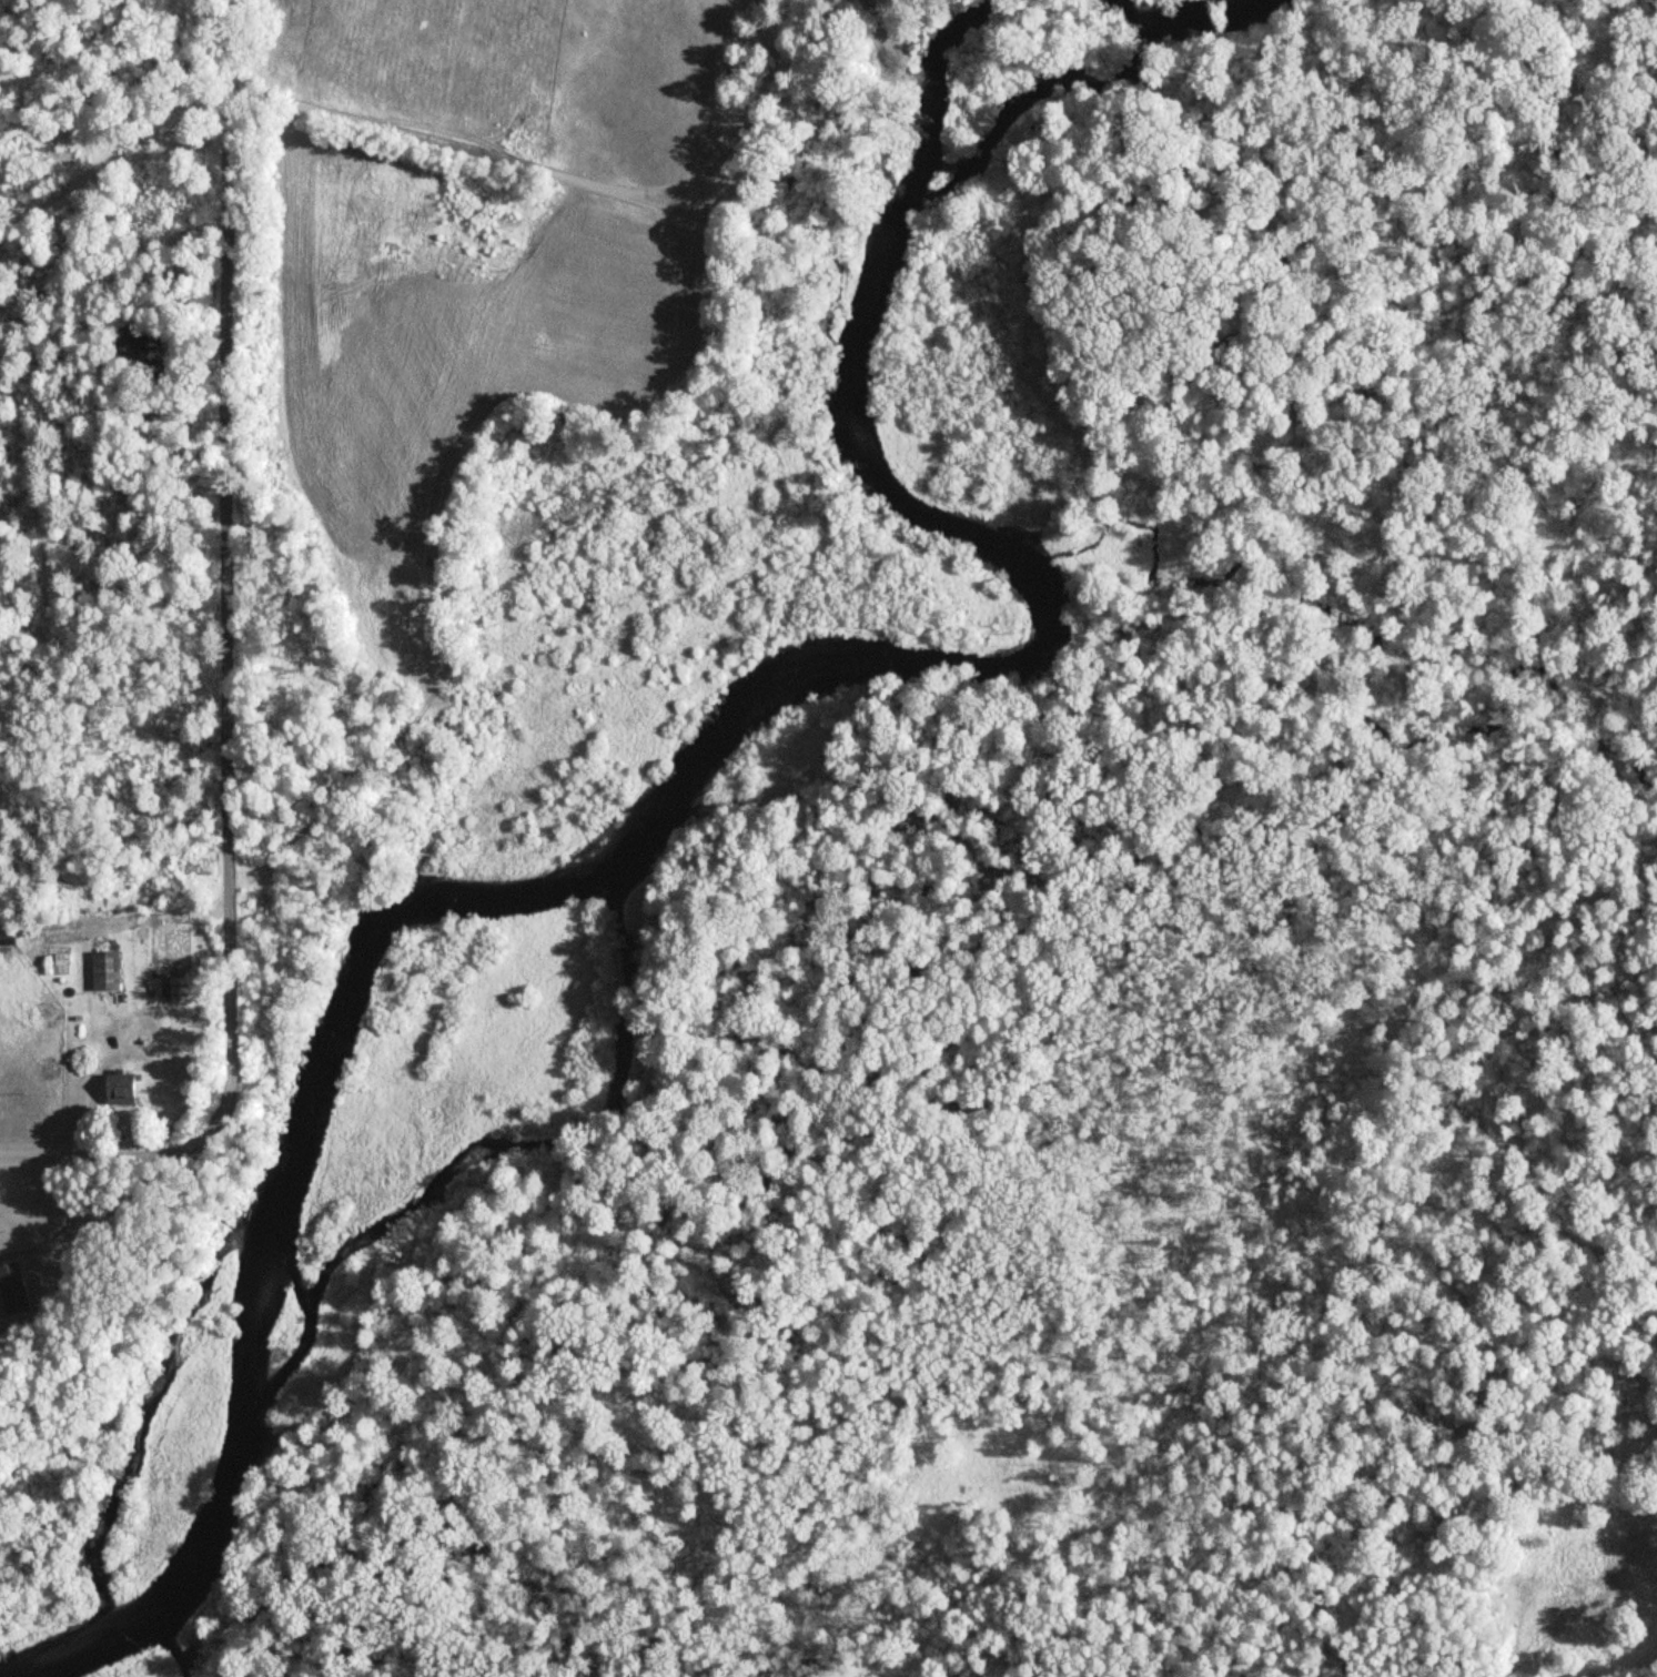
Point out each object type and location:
road: (593, 182)
road: (223, 574)
river: (749, 723)
building: (7, 937)
building: (104, 971)
building: (179, 990)
building: (121, 1089)
road: (101, 1154)
road: (51, 1215)
building: (12, 1290)

